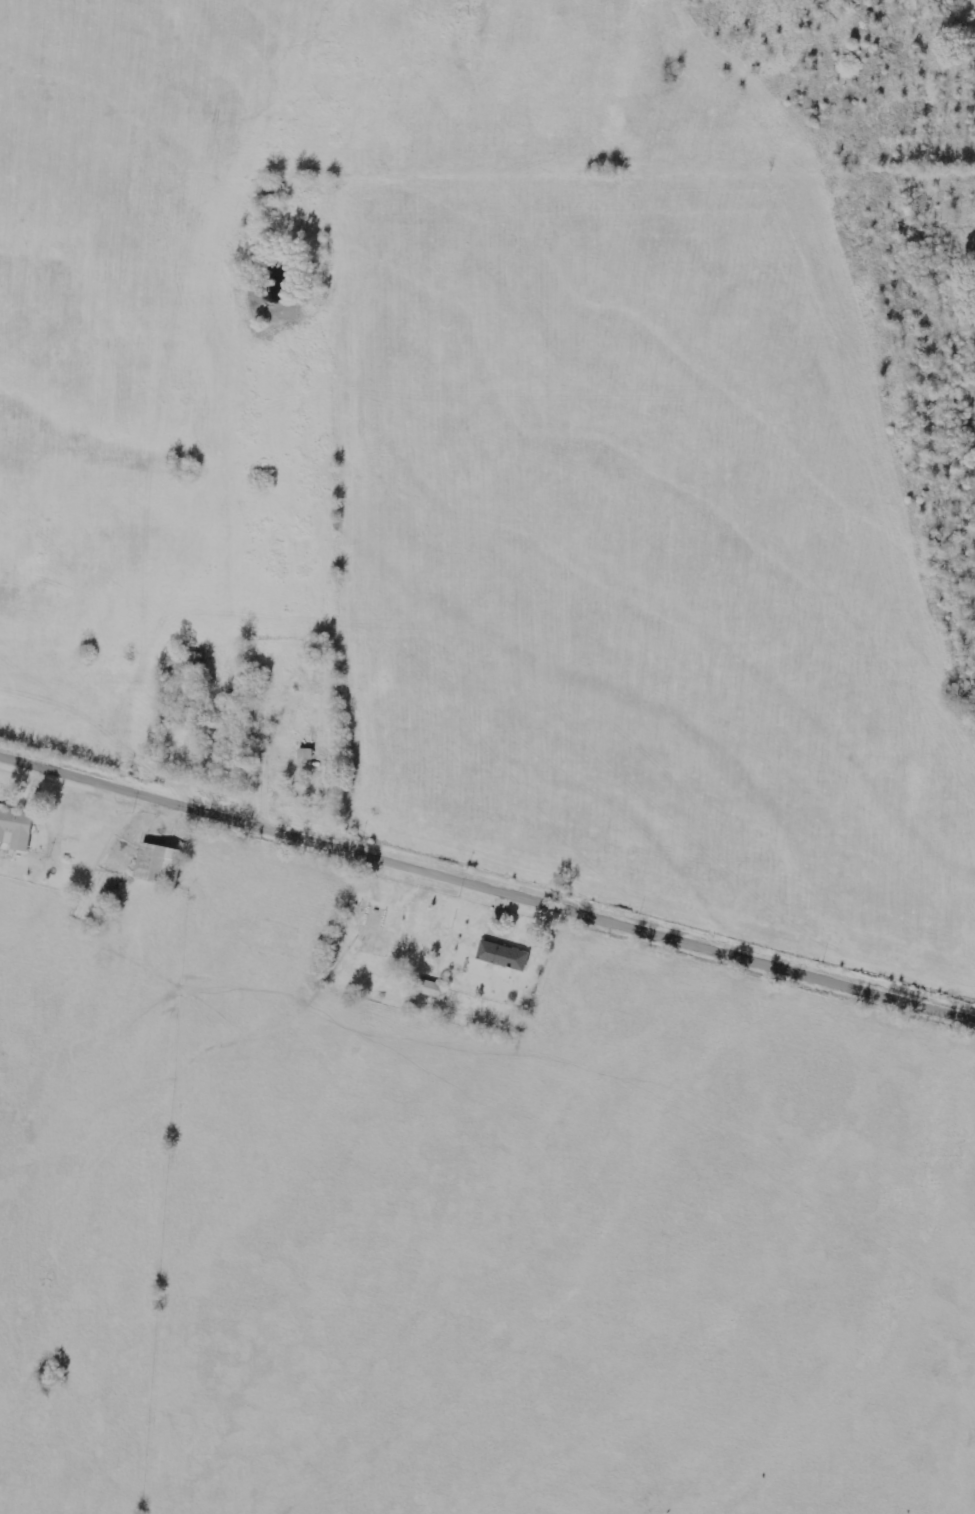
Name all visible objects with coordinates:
building: (16, 829)
building: (157, 863)
road: (487, 890)
building: (377, 930)
building: (503, 955)
building: (429, 987)

